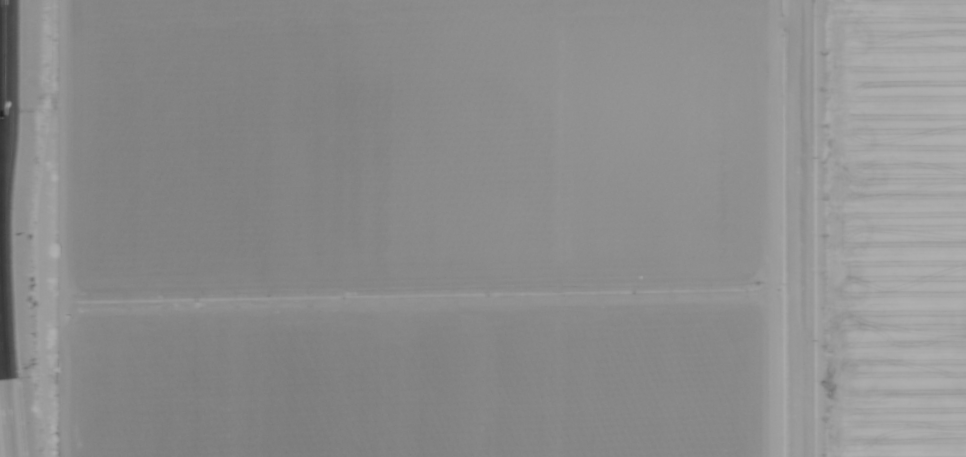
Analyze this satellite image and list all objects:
road: (2, 427)

